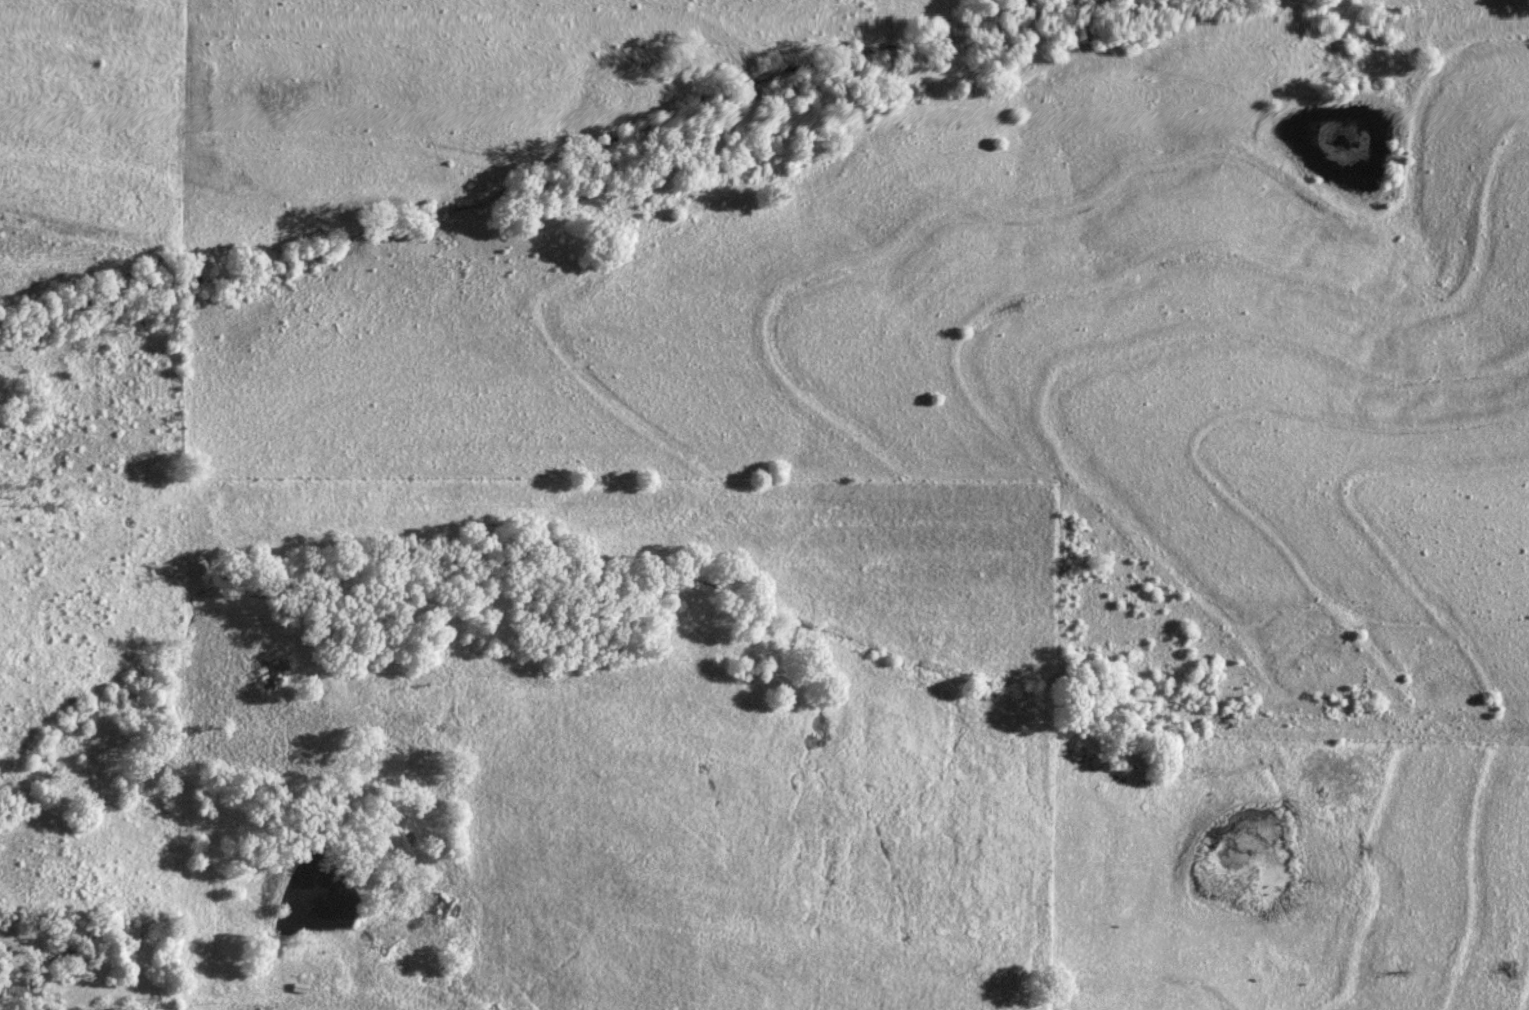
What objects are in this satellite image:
building: (3, 1009)

